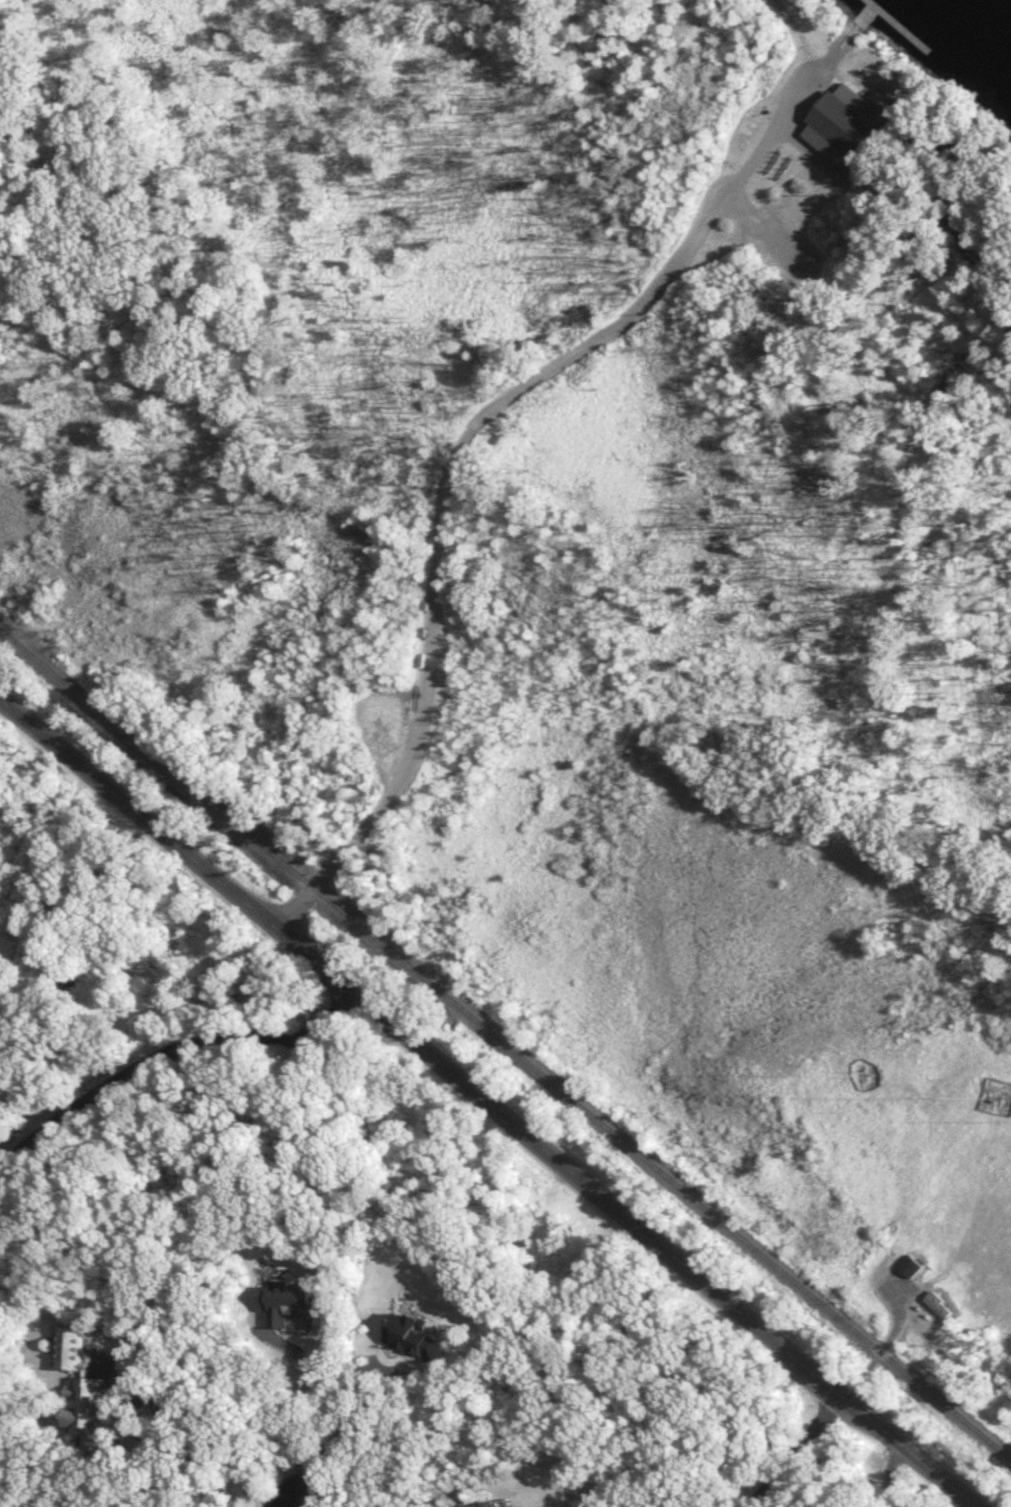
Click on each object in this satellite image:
road: (797, 37)
building: (847, 127)
park: (449, 422)
road: (468, 430)
railway: (505, 1045)
road: (163, 1056)
road: (487, 1103)
building: (912, 1266)
building: (942, 1307)
road: (883, 1348)
road: (319, 1380)
building: (86, 1393)
road: (360, 1424)
road: (134, 1430)
road: (793, 1450)
road: (887, 1475)
road: (300, 1480)
building: (500, 1504)

